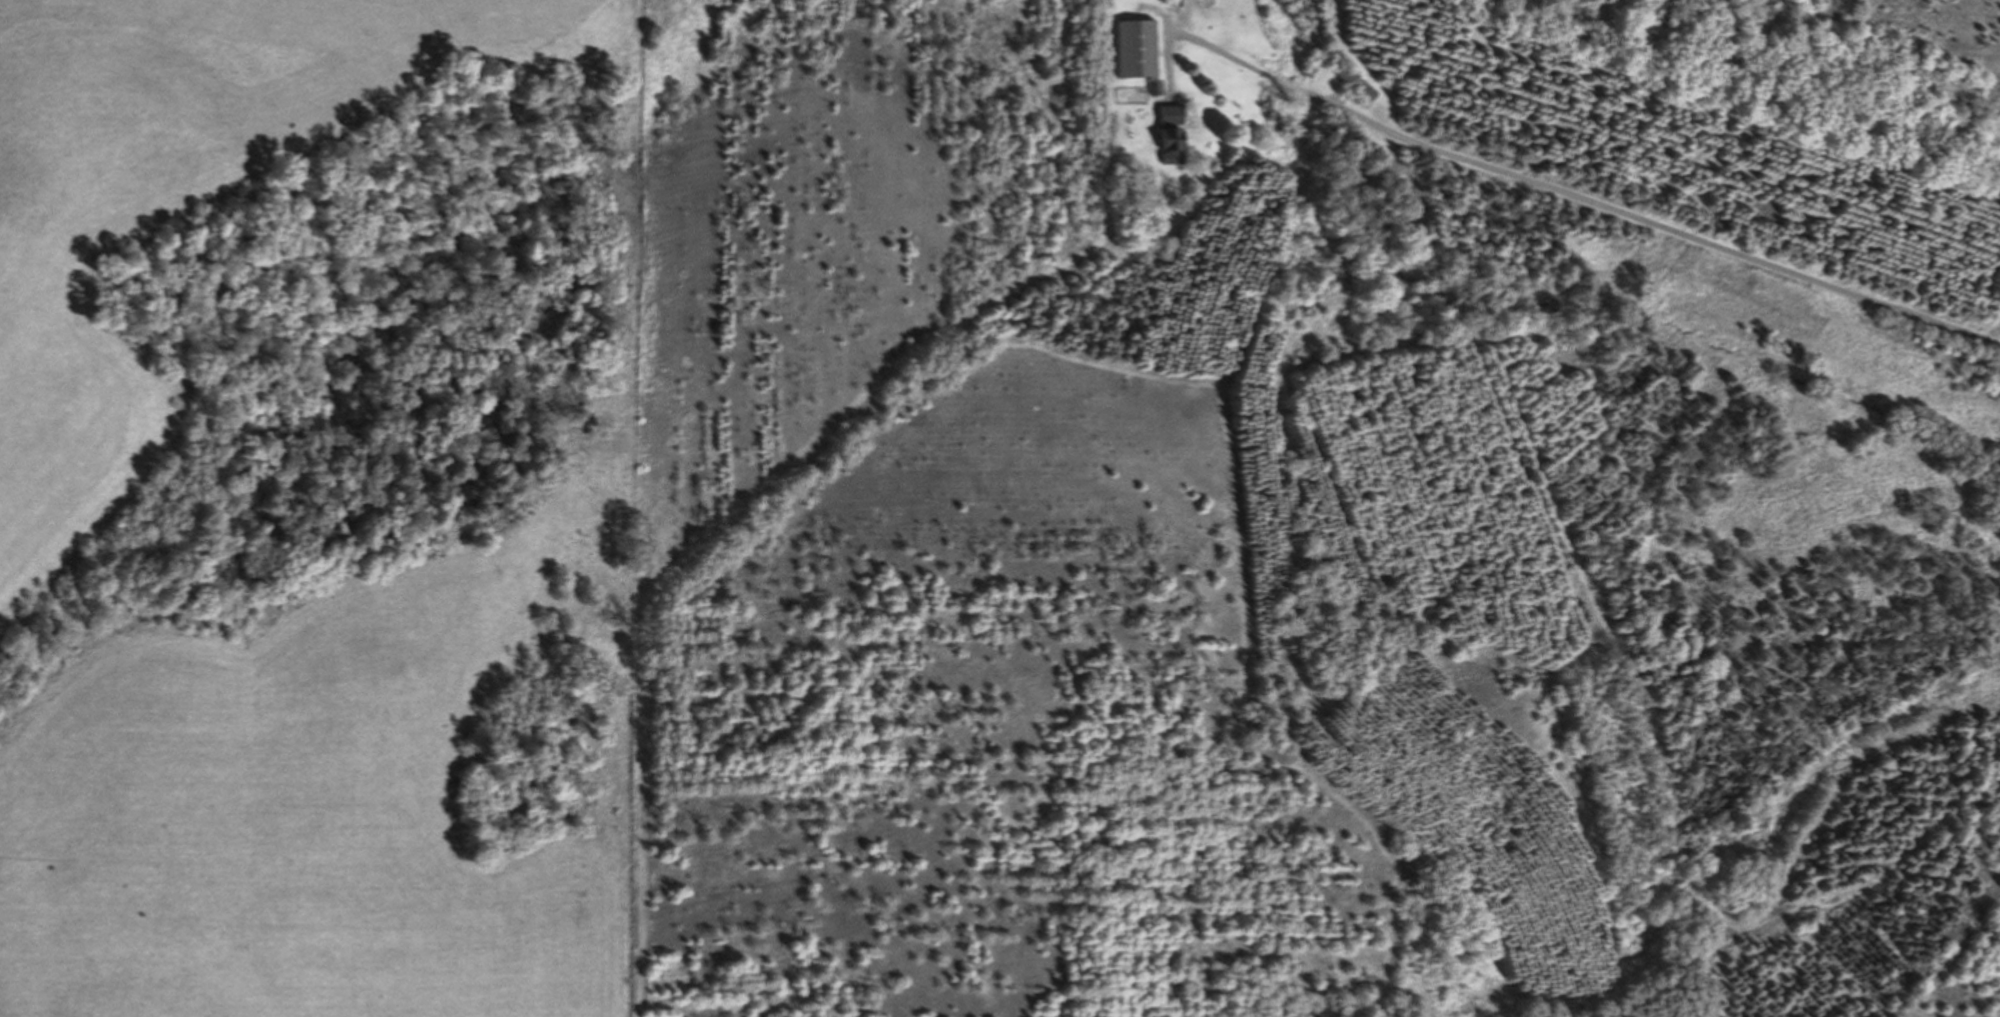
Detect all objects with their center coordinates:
building: (1141, 48)
building: (1357, 82)
building: (1175, 133)
road: (1582, 199)

